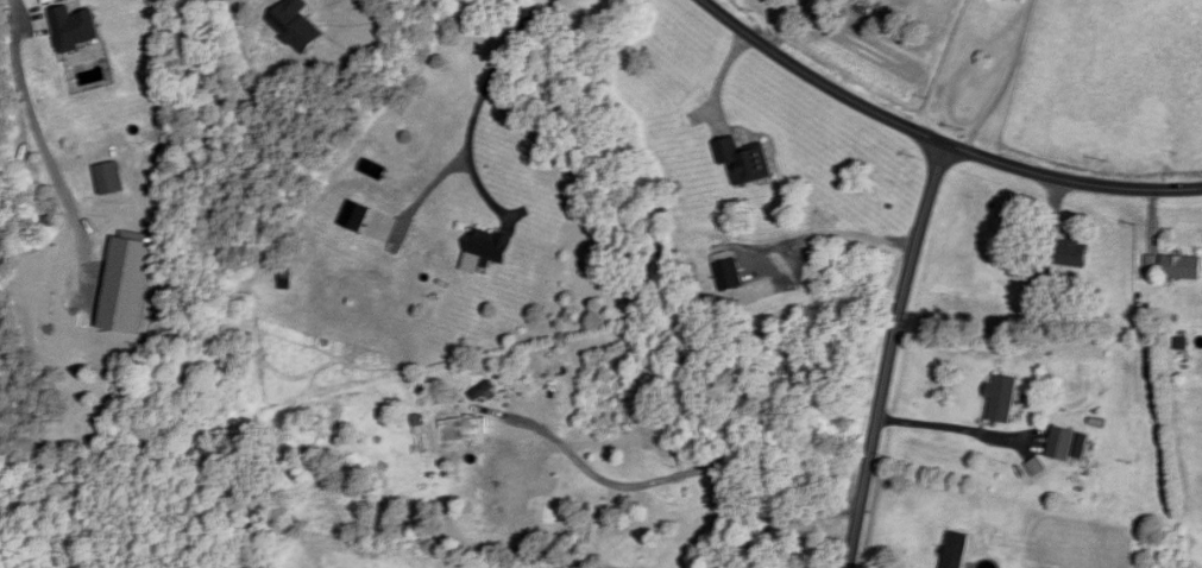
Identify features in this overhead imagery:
building: (78, 29)
road: (720, 77)
road: (1007, 78)
road: (479, 99)
road: (937, 138)
road: (50, 149)
building: (743, 160)
building: (112, 178)
road: (836, 229)
building: (489, 245)
building: (1070, 252)
building: (1181, 266)
road: (891, 353)
building: (1002, 399)
road: (674, 475)
building: (955, 550)

